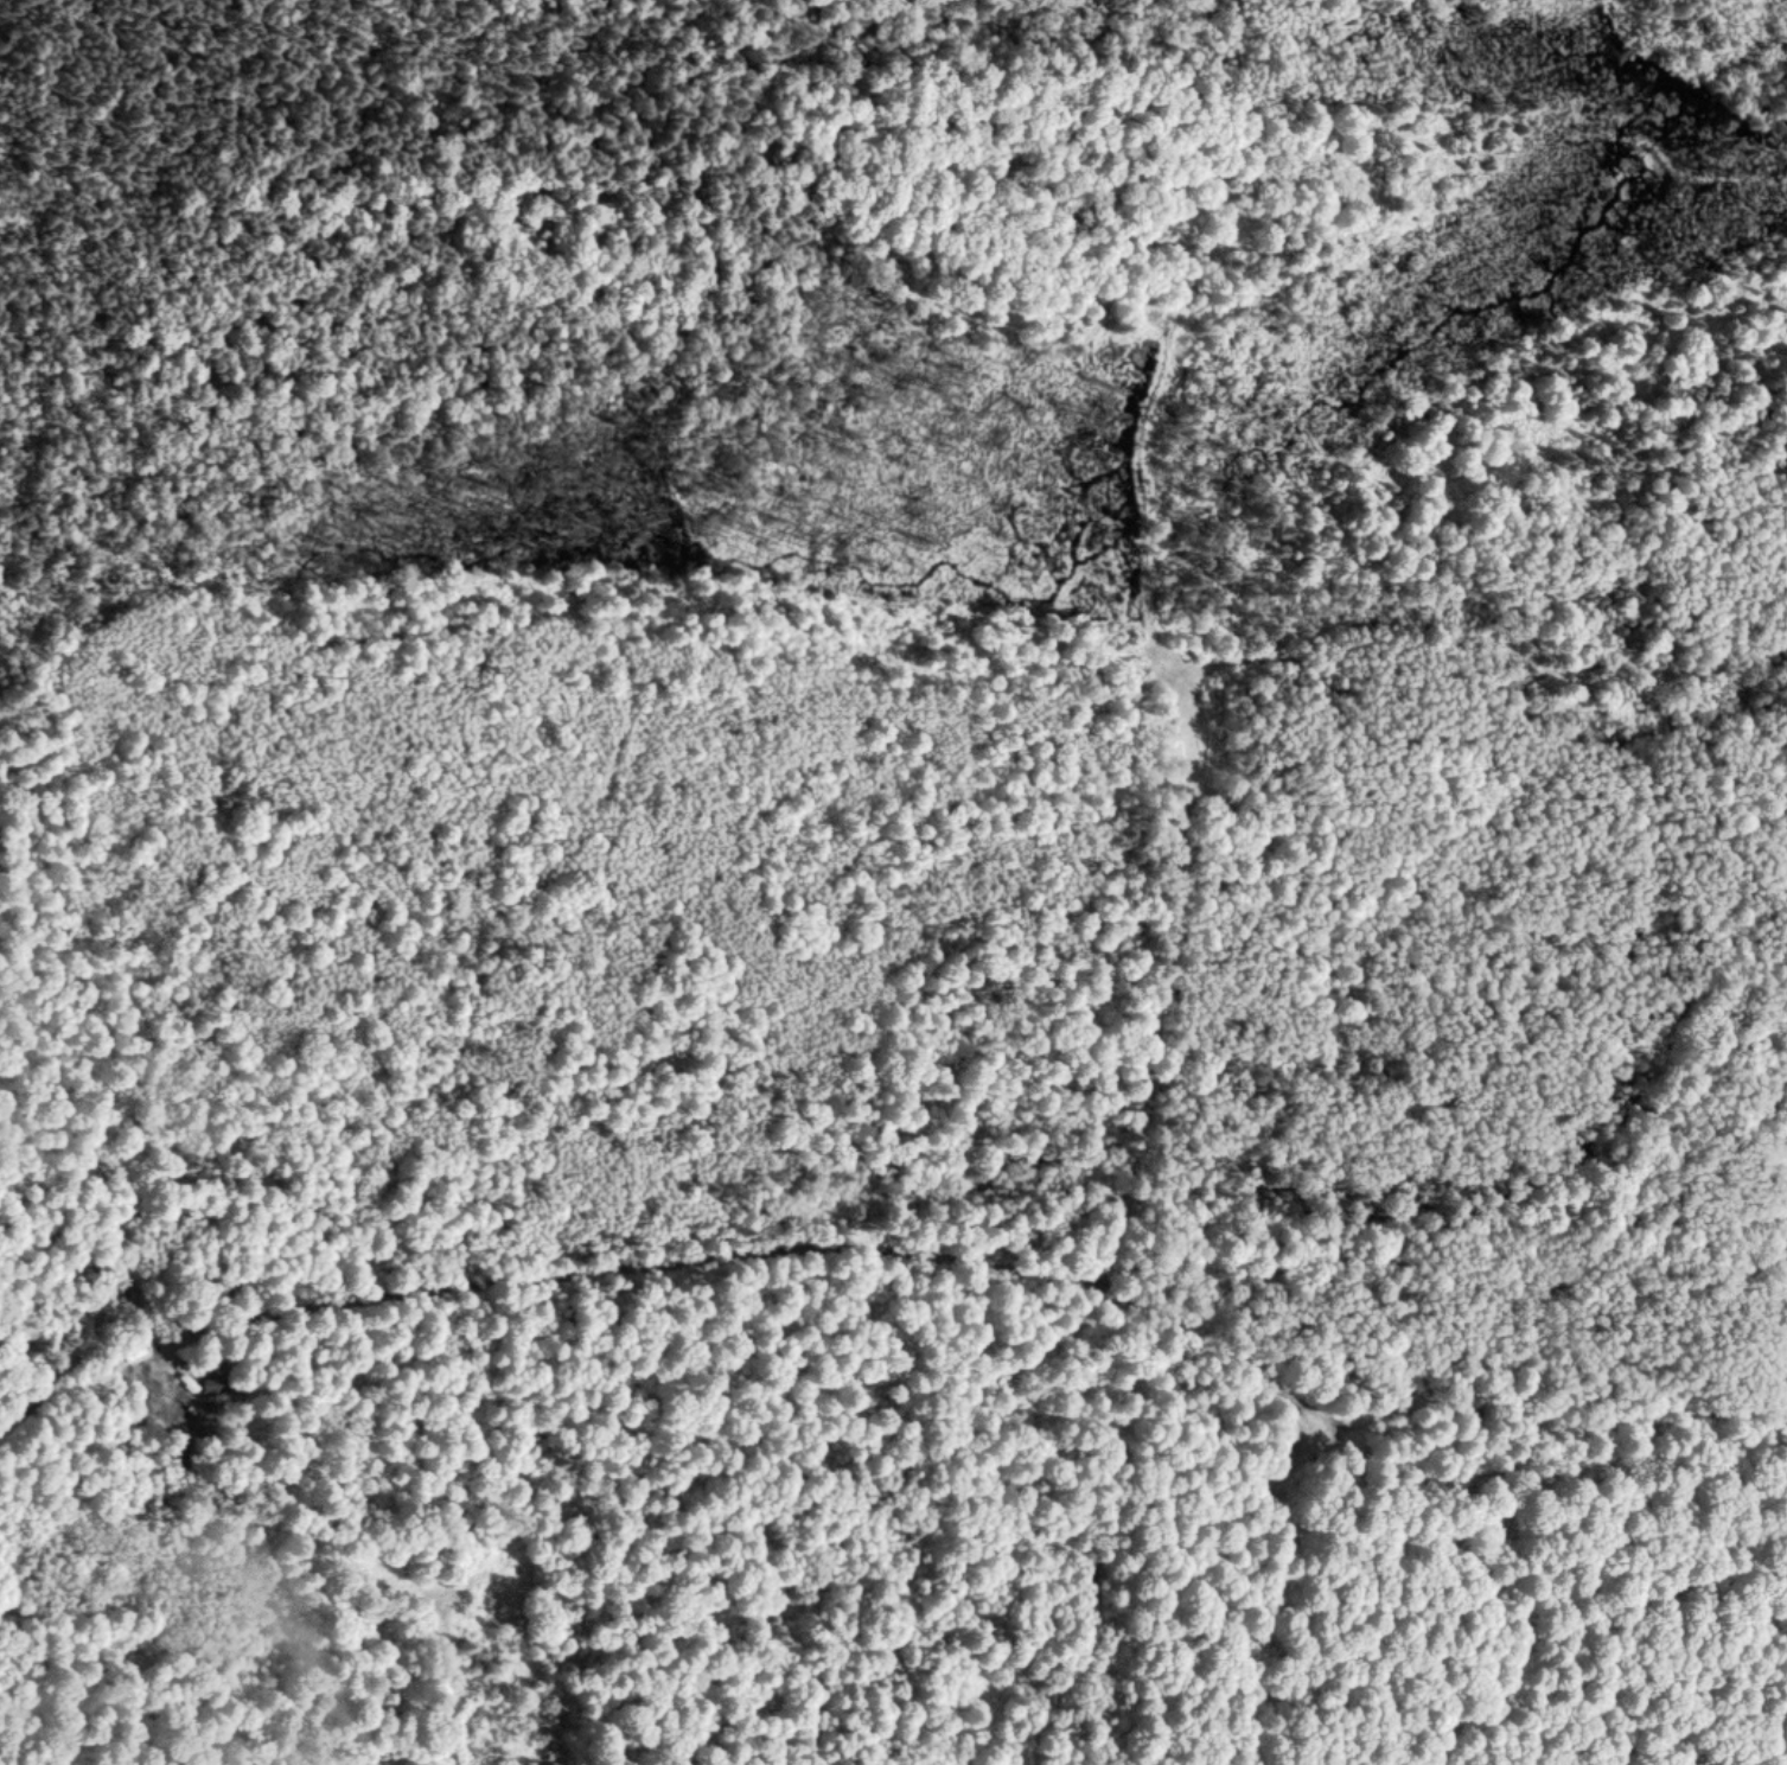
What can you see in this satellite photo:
road: (58, 1375)

